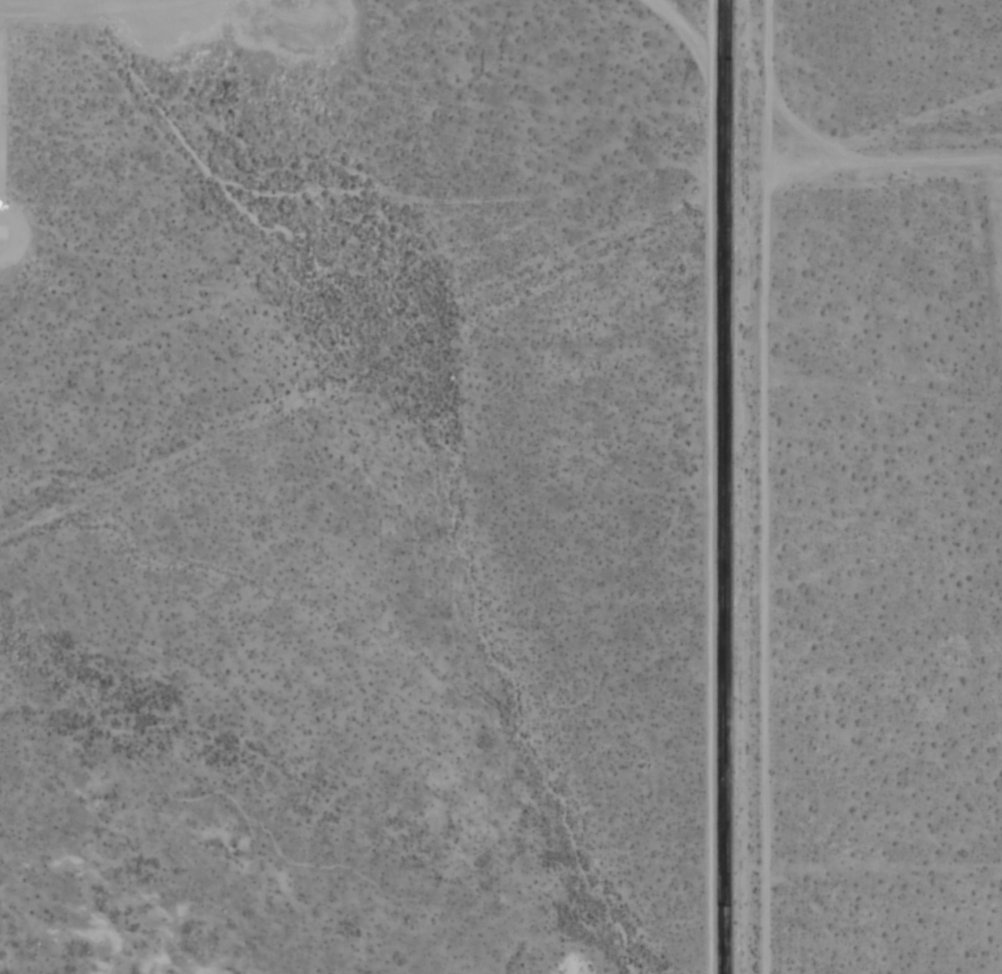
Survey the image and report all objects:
road: (697, 50)
road: (885, 164)
airport: (371, 486)
road: (766, 486)

